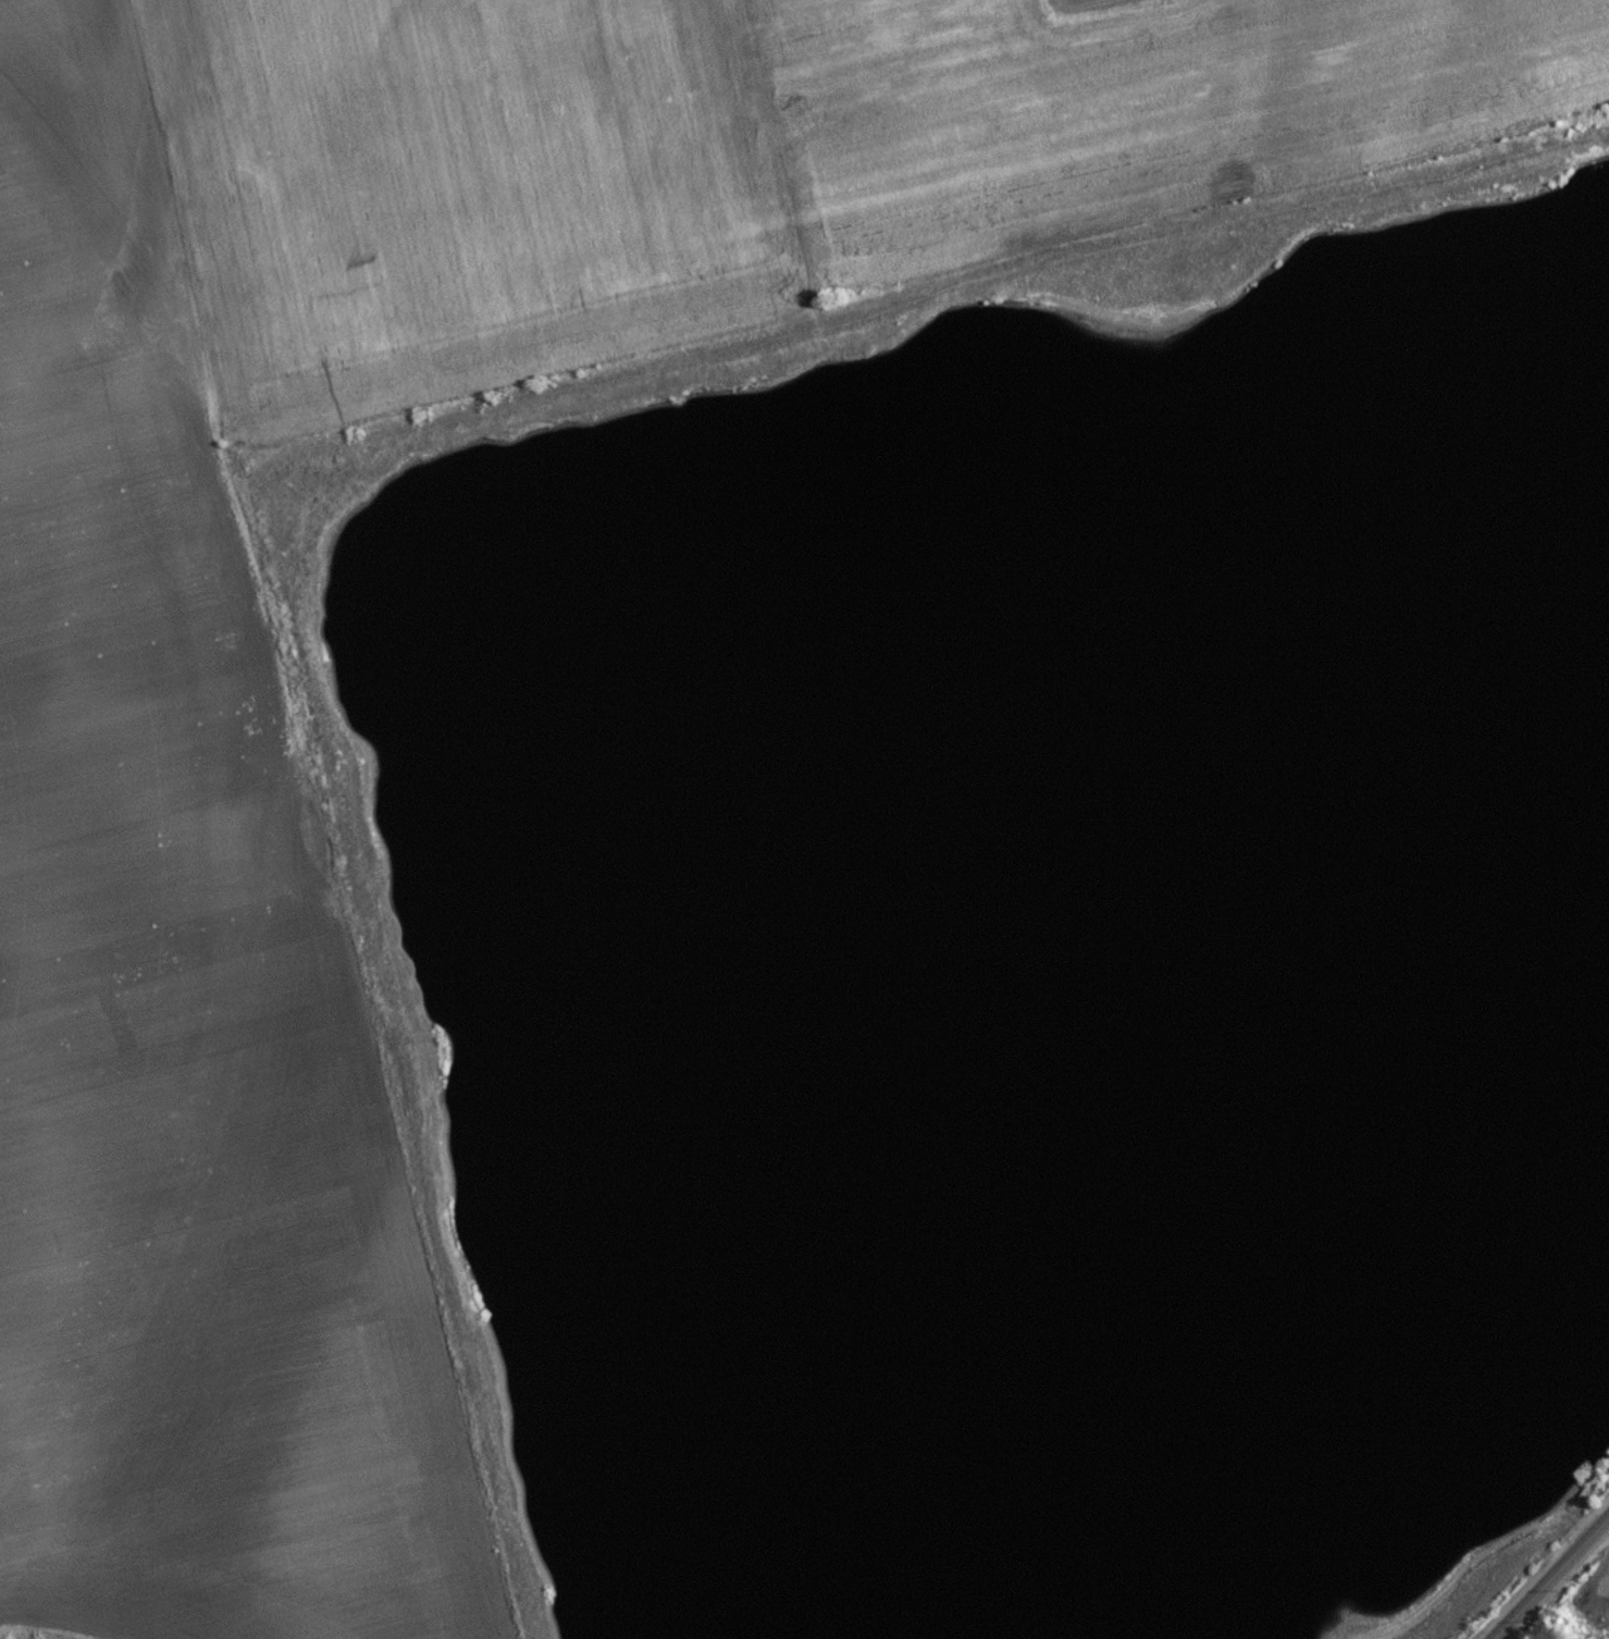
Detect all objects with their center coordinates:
road: (1545, 1577)
quarry: (1607, 1583)

